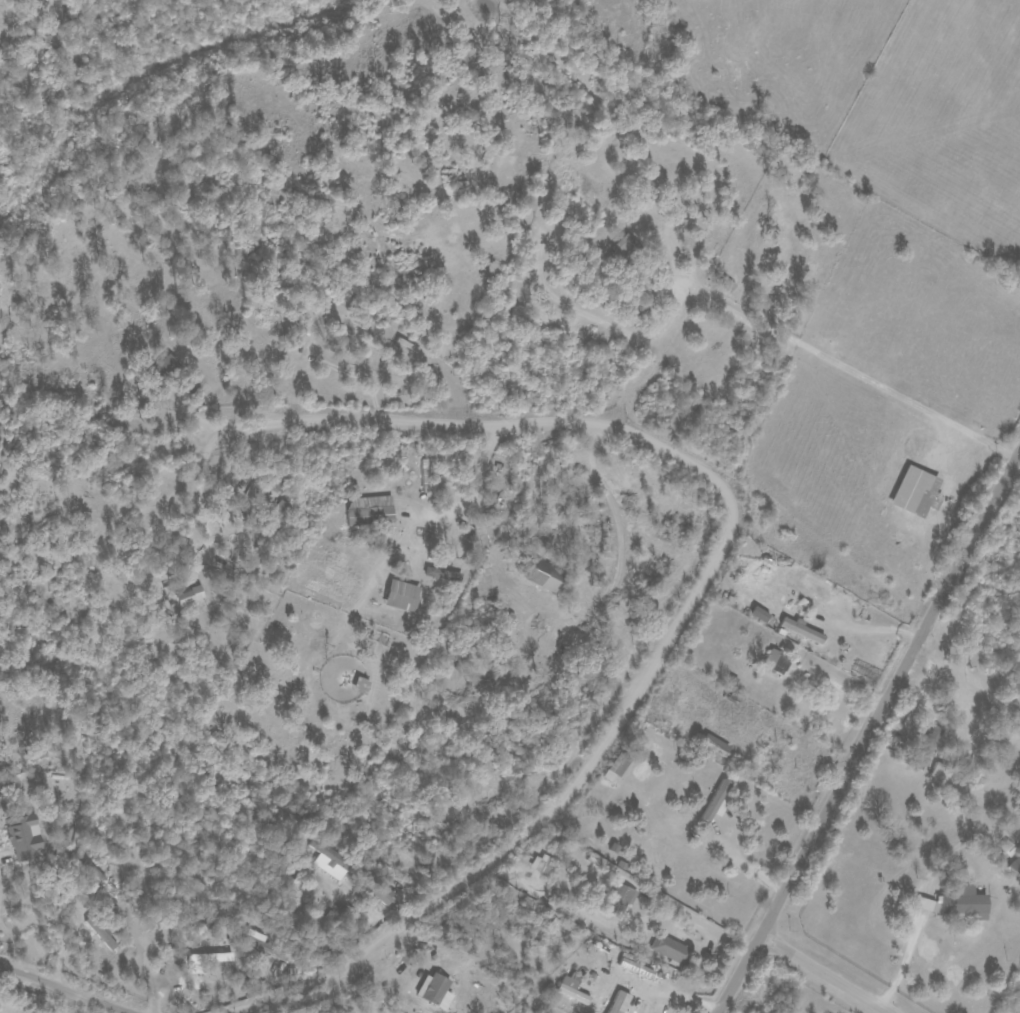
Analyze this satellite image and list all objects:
building: (625, 247)
road: (830, 361)
building: (169, 366)
road: (694, 396)
road: (201, 487)
road: (341, 489)
building: (911, 492)
road: (463, 495)
building: (364, 516)
building: (546, 576)
building: (804, 584)
road: (701, 591)
building: (403, 596)
building: (182, 597)
building: (754, 614)
road: (868, 630)
building: (773, 662)
road: (868, 734)
building: (917, 737)
building: (711, 744)
building: (617, 767)
road: (801, 768)
building: (712, 802)
building: (25, 840)
building: (542, 864)
building: (1013, 866)
road: (704, 892)
building: (620, 898)
road: (661, 903)
building: (952, 903)
building: (669, 949)
building: (213, 957)
building: (636, 968)
road: (901, 970)
road: (820, 975)
building: (573, 989)
building: (436, 991)
road: (66, 993)
building: (619, 1002)

